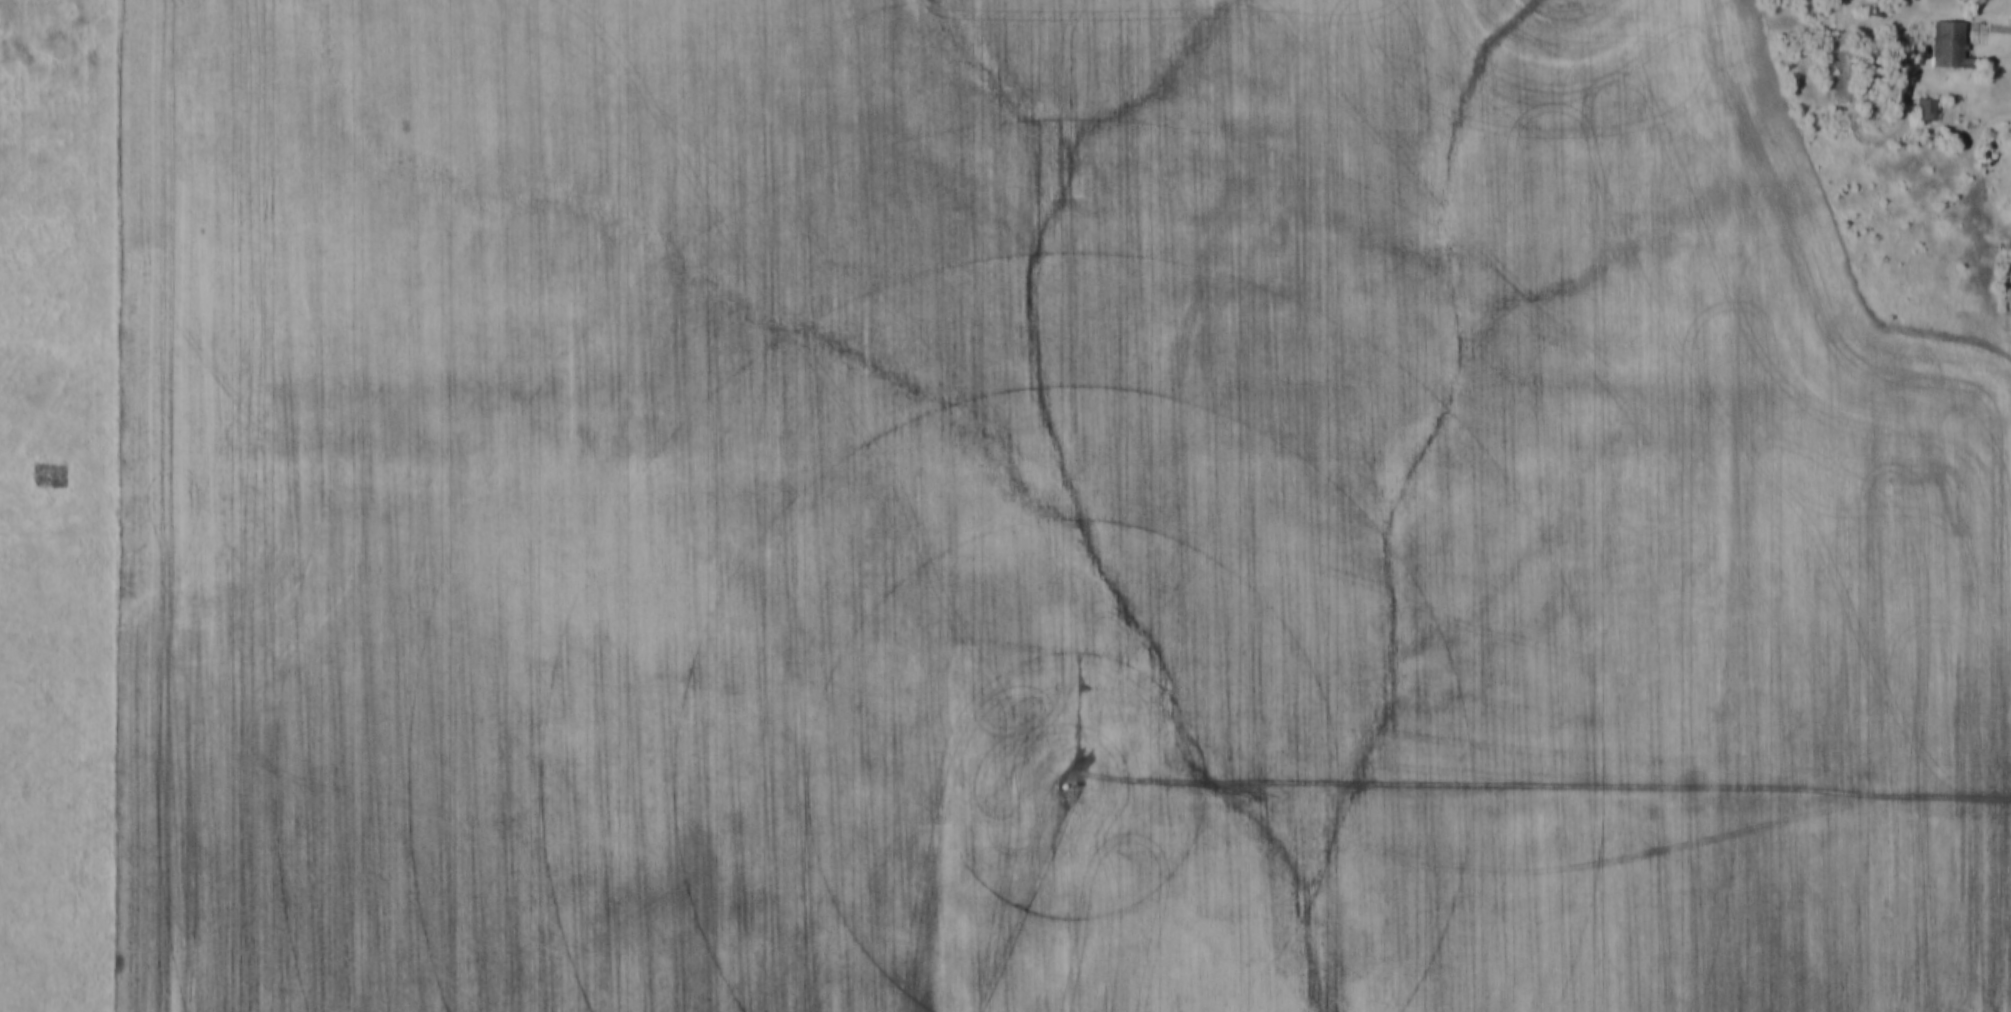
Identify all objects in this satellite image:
road: (1994, 26)
building: (1946, 45)
building: (1922, 108)

